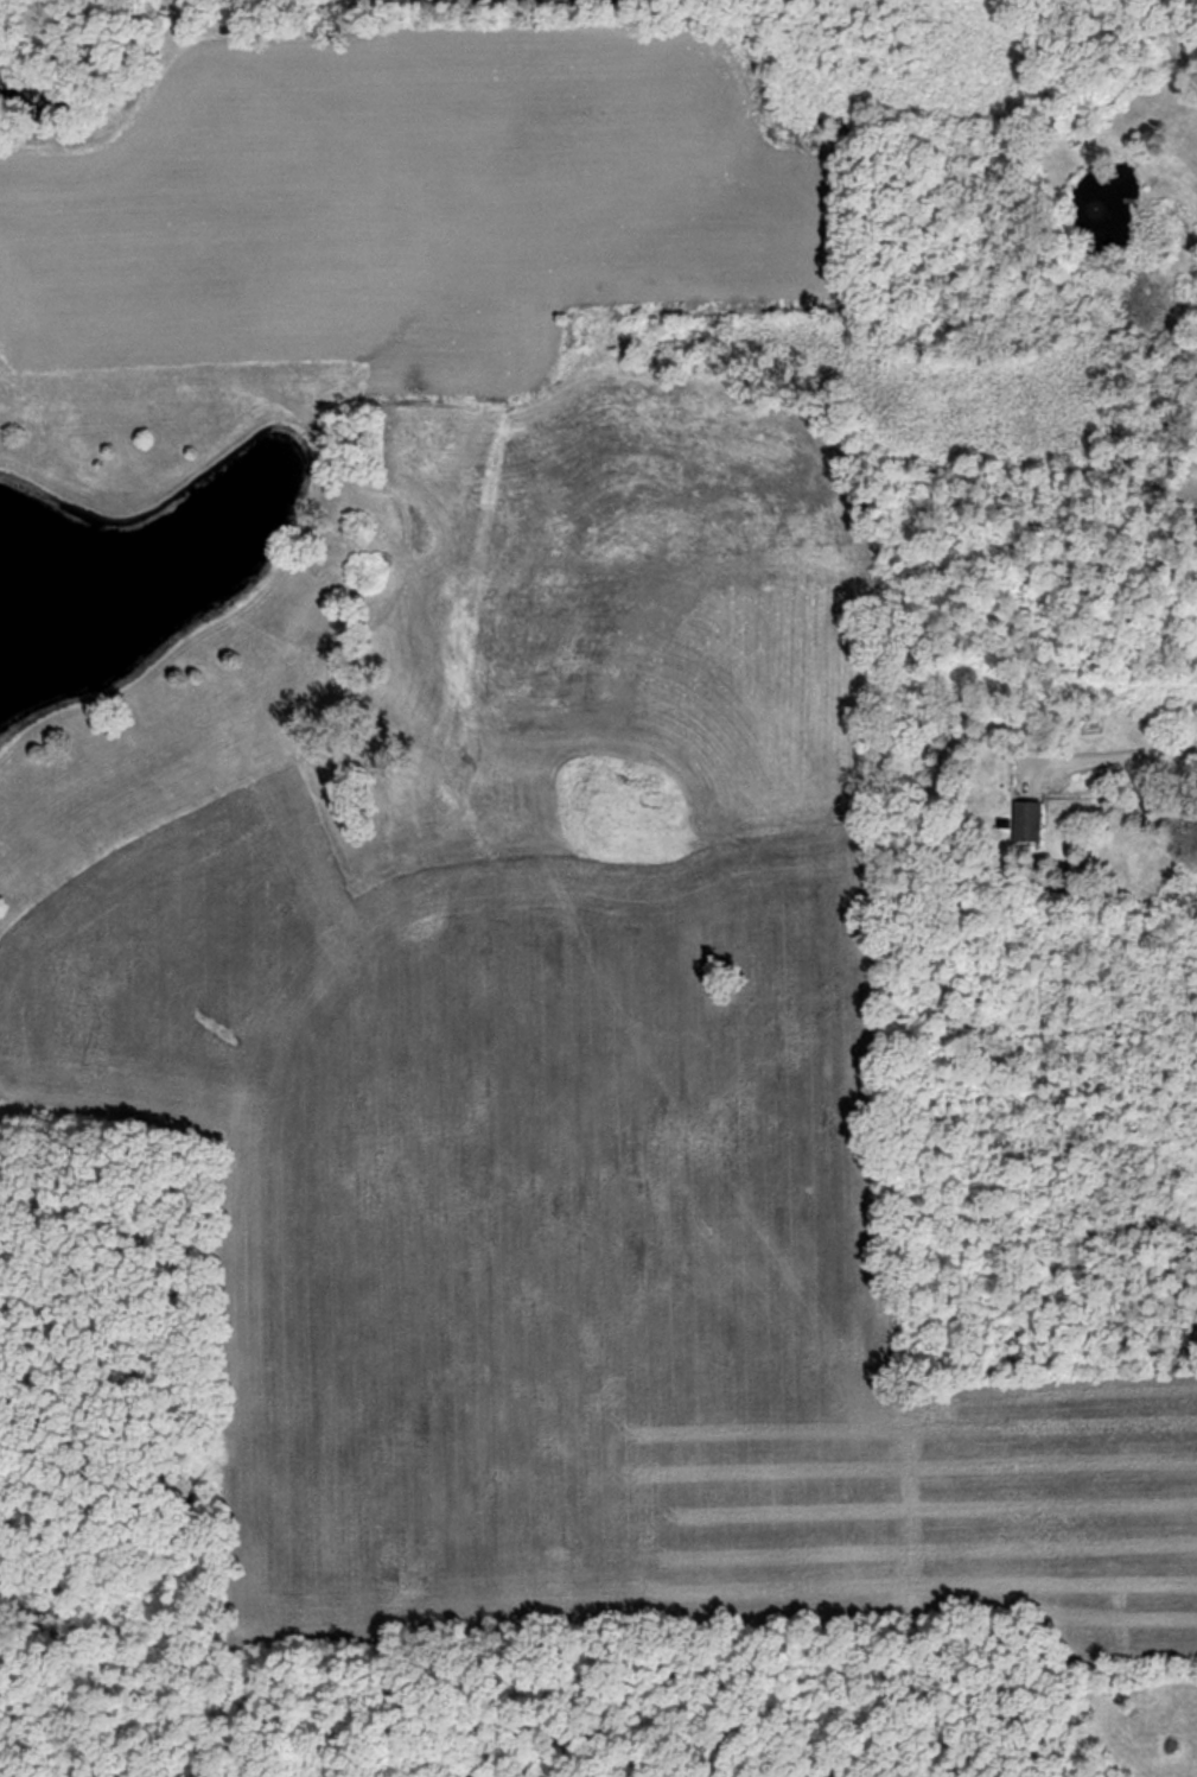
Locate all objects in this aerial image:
road: (1103, 759)
building: (1029, 823)

